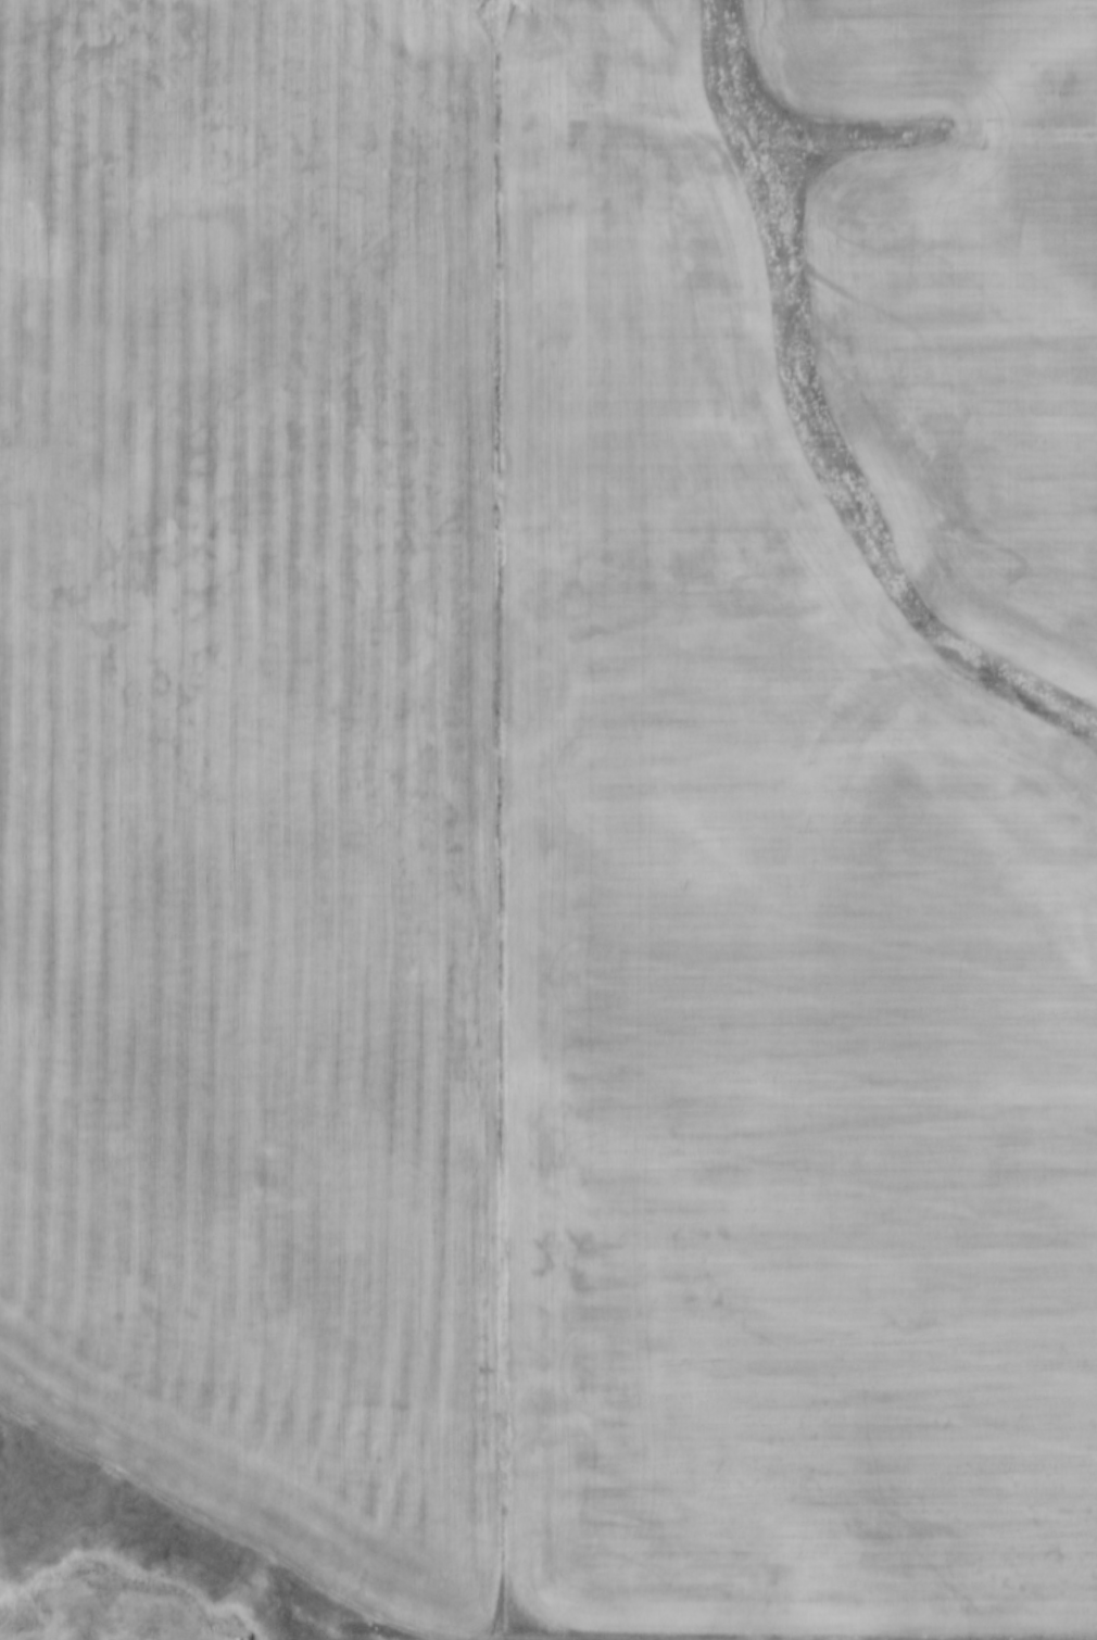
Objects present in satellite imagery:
road: (478, 1636)
road: (466, 1638)

